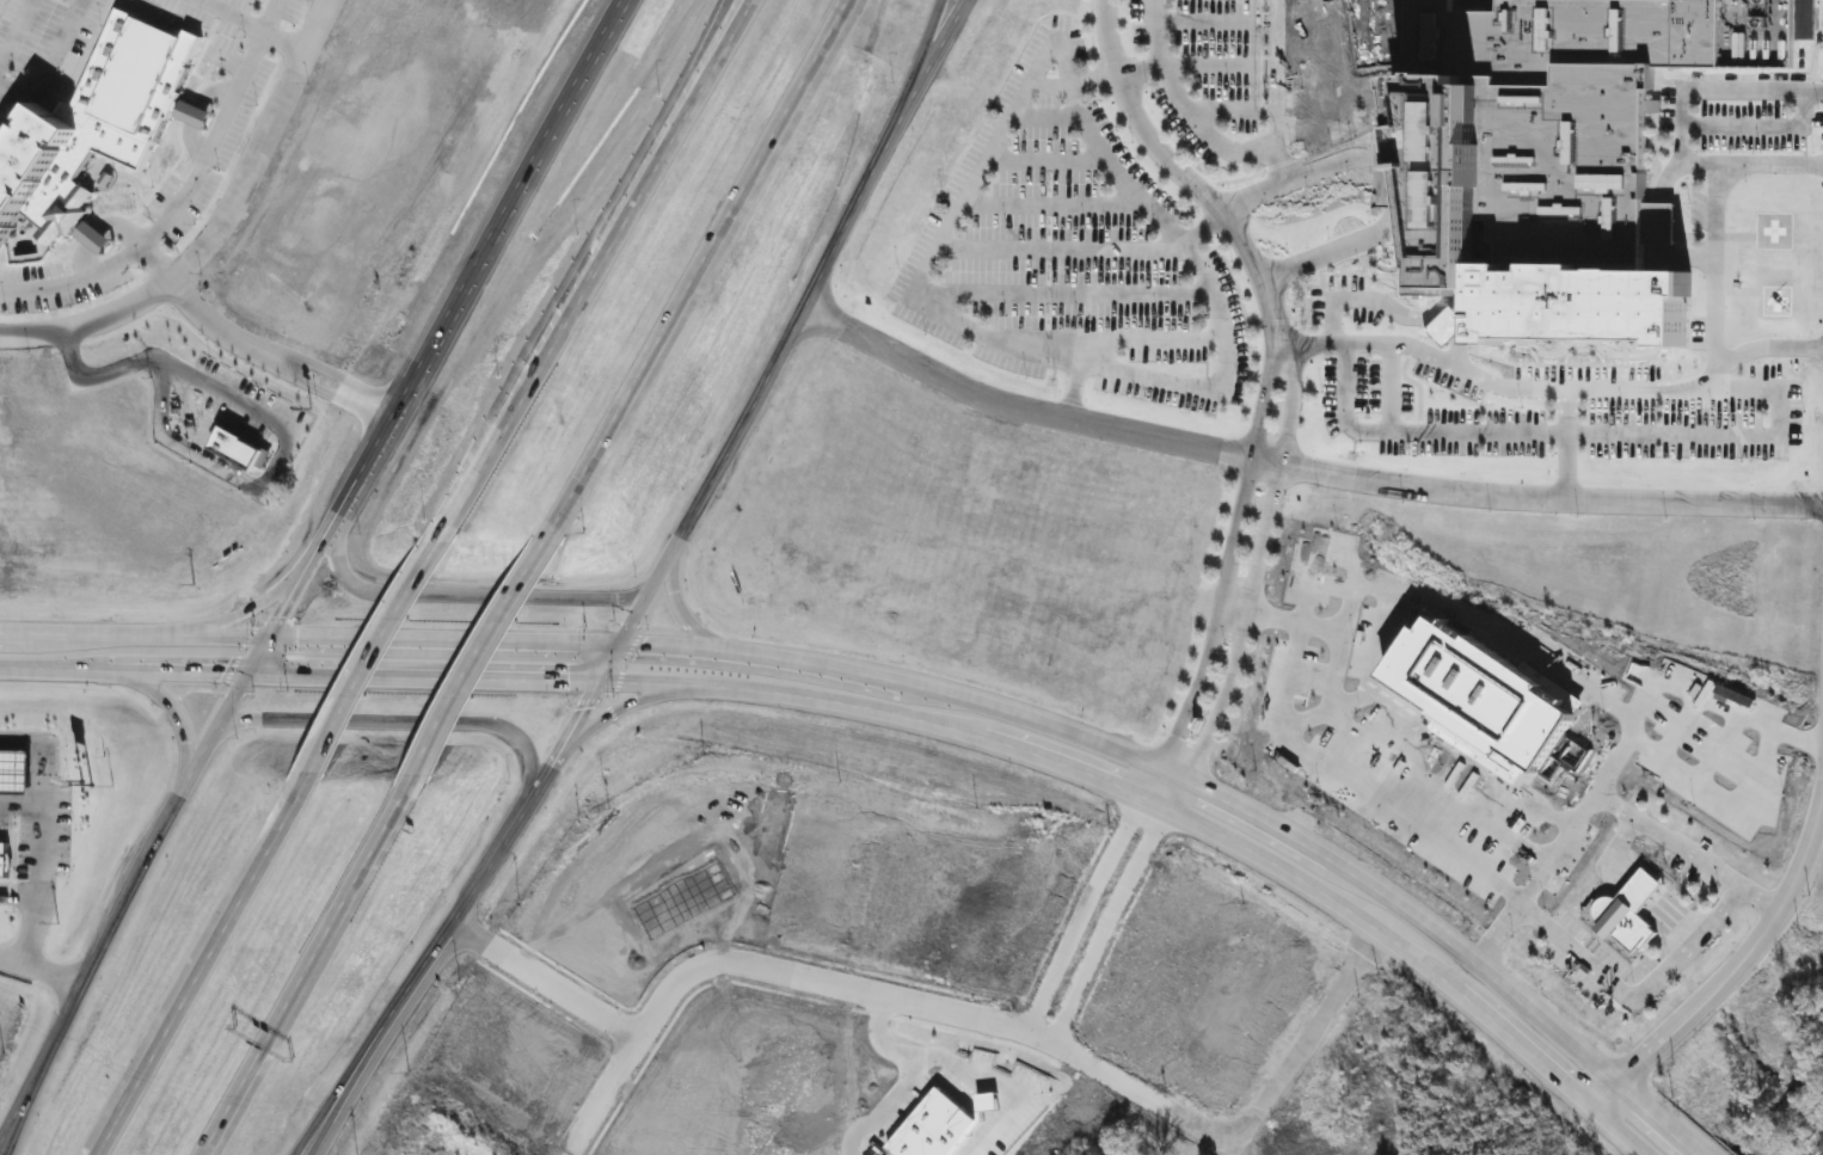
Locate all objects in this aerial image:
road: (264, 14)
road: (1251, 21)
road: (248, 24)
road: (13, 29)
road: (928, 45)
road: (938, 45)
road: (1346, 50)
road: (1256, 66)
parking lot: (1254, 67)
road: (1142, 72)
road: (1173, 86)
road: (1729, 93)
building: (100, 111)
road: (1263, 112)
road: (662, 121)
building: (1545, 123)
parking lot: (1713, 124)
road: (1727, 128)
road: (1773, 129)
road: (1291, 131)
road: (541, 134)
road: (198, 161)
road: (1277, 161)
road: (1749, 166)
road: (1388, 176)
road: (1185, 177)
road: (1662, 219)
road: (213, 225)
helipad: (1773, 231)
road: (1201, 234)
road: (1712, 235)
road: (1140, 252)
road: (602, 262)
road: (699, 262)
road: (72, 279)
road: (1152, 295)
road: (1382, 301)
road: (1091, 309)
road: (1623, 314)
road: (1216, 315)
road: (1331, 324)
road: (1567, 330)
parking lot: (1158, 333)
road: (1153, 340)
parking lot: (1522, 345)
road: (1313, 346)
road: (1546, 346)
road: (1786, 349)
road: (1750, 352)
road: (270, 360)
road: (768, 368)
road: (1150, 377)
road: (1073, 389)
road: (1527, 389)
building: (239, 450)
road: (217, 463)
road: (1299, 469)
road: (361, 471)
road: (458, 594)
road: (677, 604)
road: (254, 606)
traffic signals: (269, 637)
traffic signals: (619, 644)
road: (379, 650)
road: (485, 651)
traffic signals: (250, 669)
traffic signals: (600, 676)
road: (919, 681)
road: (1191, 701)
road: (891, 705)
road: (620, 708)
road: (1217, 708)
road: (172, 713)
road: (397, 720)
road: (1505, 735)
building: (14, 774)
gas station: (14, 774)
building: (779, 824)
road: (507, 827)
building: (4, 861)
road: (37, 864)
road: (137, 870)
road: (1634, 886)
road: (17, 889)
building: (689, 899)
building: (1622, 917)
road: (1553, 934)
road: (1690, 946)
road: (1736, 963)
road: (204, 965)
road: (308, 966)
road: (41, 967)
road: (541, 975)
road: (999, 1016)
road: (342, 1081)
road: (351, 1081)
road: (18, 1108)
road: (19, 1116)
building: (934, 1130)

